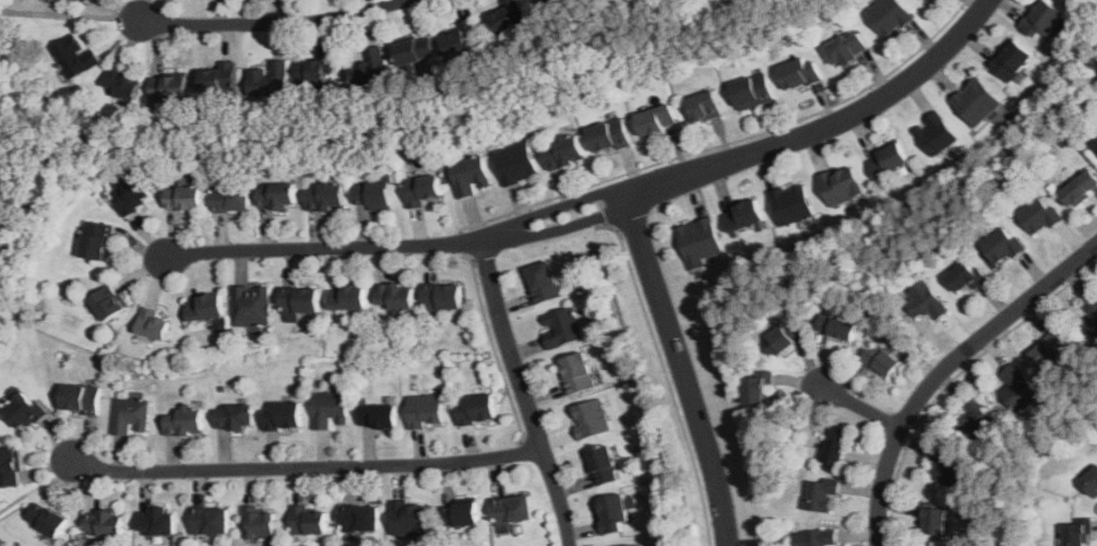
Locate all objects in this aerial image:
building: (82, 0)
building: (85, 0)
building: (922, 0)
road: (70, 15)
building: (510, 16)
building: (889, 16)
building: (1042, 20)
road: (274, 23)
building: (464, 39)
building: (846, 49)
building: (415, 51)
building: (75, 57)
building: (1011, 60)
building: (370, 70)
building: (312, 73)
building: (799, 74)
building: (220, 79)
building: (270, 81)
building: (121, 85)
building: (168, 87)
building: (752, 92)
building: (975, 103)
building: (705, 107)
building: (656, 121)
road: (826, 126)
building: (935, 134)
building: (609, 136)
road: (727, 141)
building: (1095, 149)
building: (564, 153)
building: (887, 162)
building: (516, 164)
building: (470, 176)
building: (191, 179)
building: (842, 186)
building: (1080, 189)
building: (421, 190)
building: (276, 195)
building: (372, 195)
building: (132, 197)
building: (184, 198)
building: (326, 198)
building: (230, 199)
building: (791, 203)
road: (551, 207)
building: (743, 216)
building: (1038, 216)
road: (625, 225)
road: (562, 228)
building: (96, 241)
road: (461, 242)
building: (699, 242)
building: (1003, 244)
road: (324, 248)
road: (480, 260)
building: (966, 276)
building: (544, 283)
building: (443, 297)
building: (347, 298)
building: (396, 298)
building: (929, 301)
building: (107, 304)
building: (299, 304)
building: (251, 307)
building: (204, 309)
building: (1090, 318)
building: (153, 324)
building: (562, 328)
building: (837, 328)
building: (784, 339)
building: (1049, 349)
road: (496, 353)
building: (882, 360)
road: (682, 367)
road: (946, 368)
building: (577, 375)
road: (667, 379)
building: (1017, 389)
building: (755, 391)
road: (526, 395)
building: (81, 399)
road: (862, 407)
building: (477, 408)
building: (23, 410)
building: (330, 410)
building: (426, 411)
building: (284, 415)
building: (378, 415)
building: (131, 416)
building: (234, 416)
building: (592, 419)
building: (186, 420)
building: (980, 423)
building: (836, 444)
building: (601, 464)
building: (9, 466)
road: (309, 467)
building: (945, 467)
building: (1092, 479)
road: (37, 485)
building: (820, 495)
building: (514, 509)
building: (612, 512)
building: (461, 513)
building: (933, 518)
building: (47, 519)
building: (360, 519)
building: (410, 519)
building: (210, 520)
building: (156, 521)
building: (309, 521)
building: (105, 522)
building: (260, 523)
building: (1075, 534)
building: (815, 537)
building: (633, 545)

